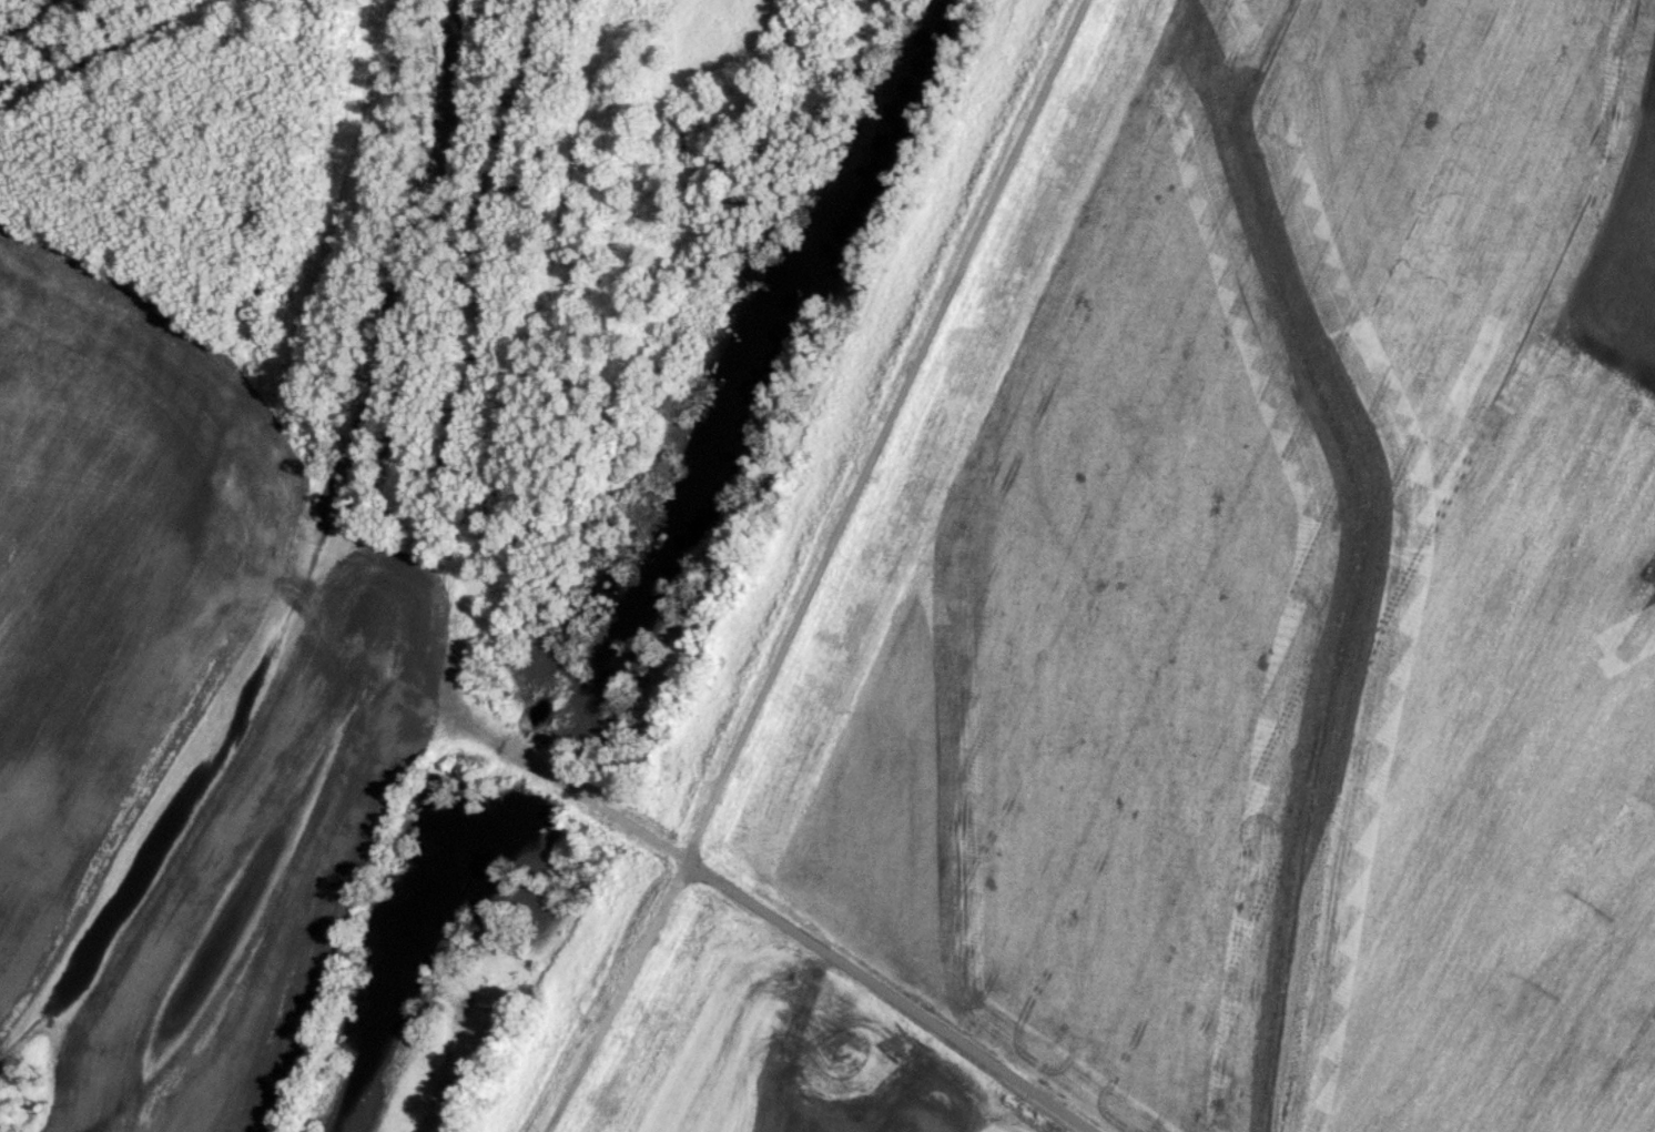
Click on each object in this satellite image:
road: (819, 567)
road: (892, 995)

